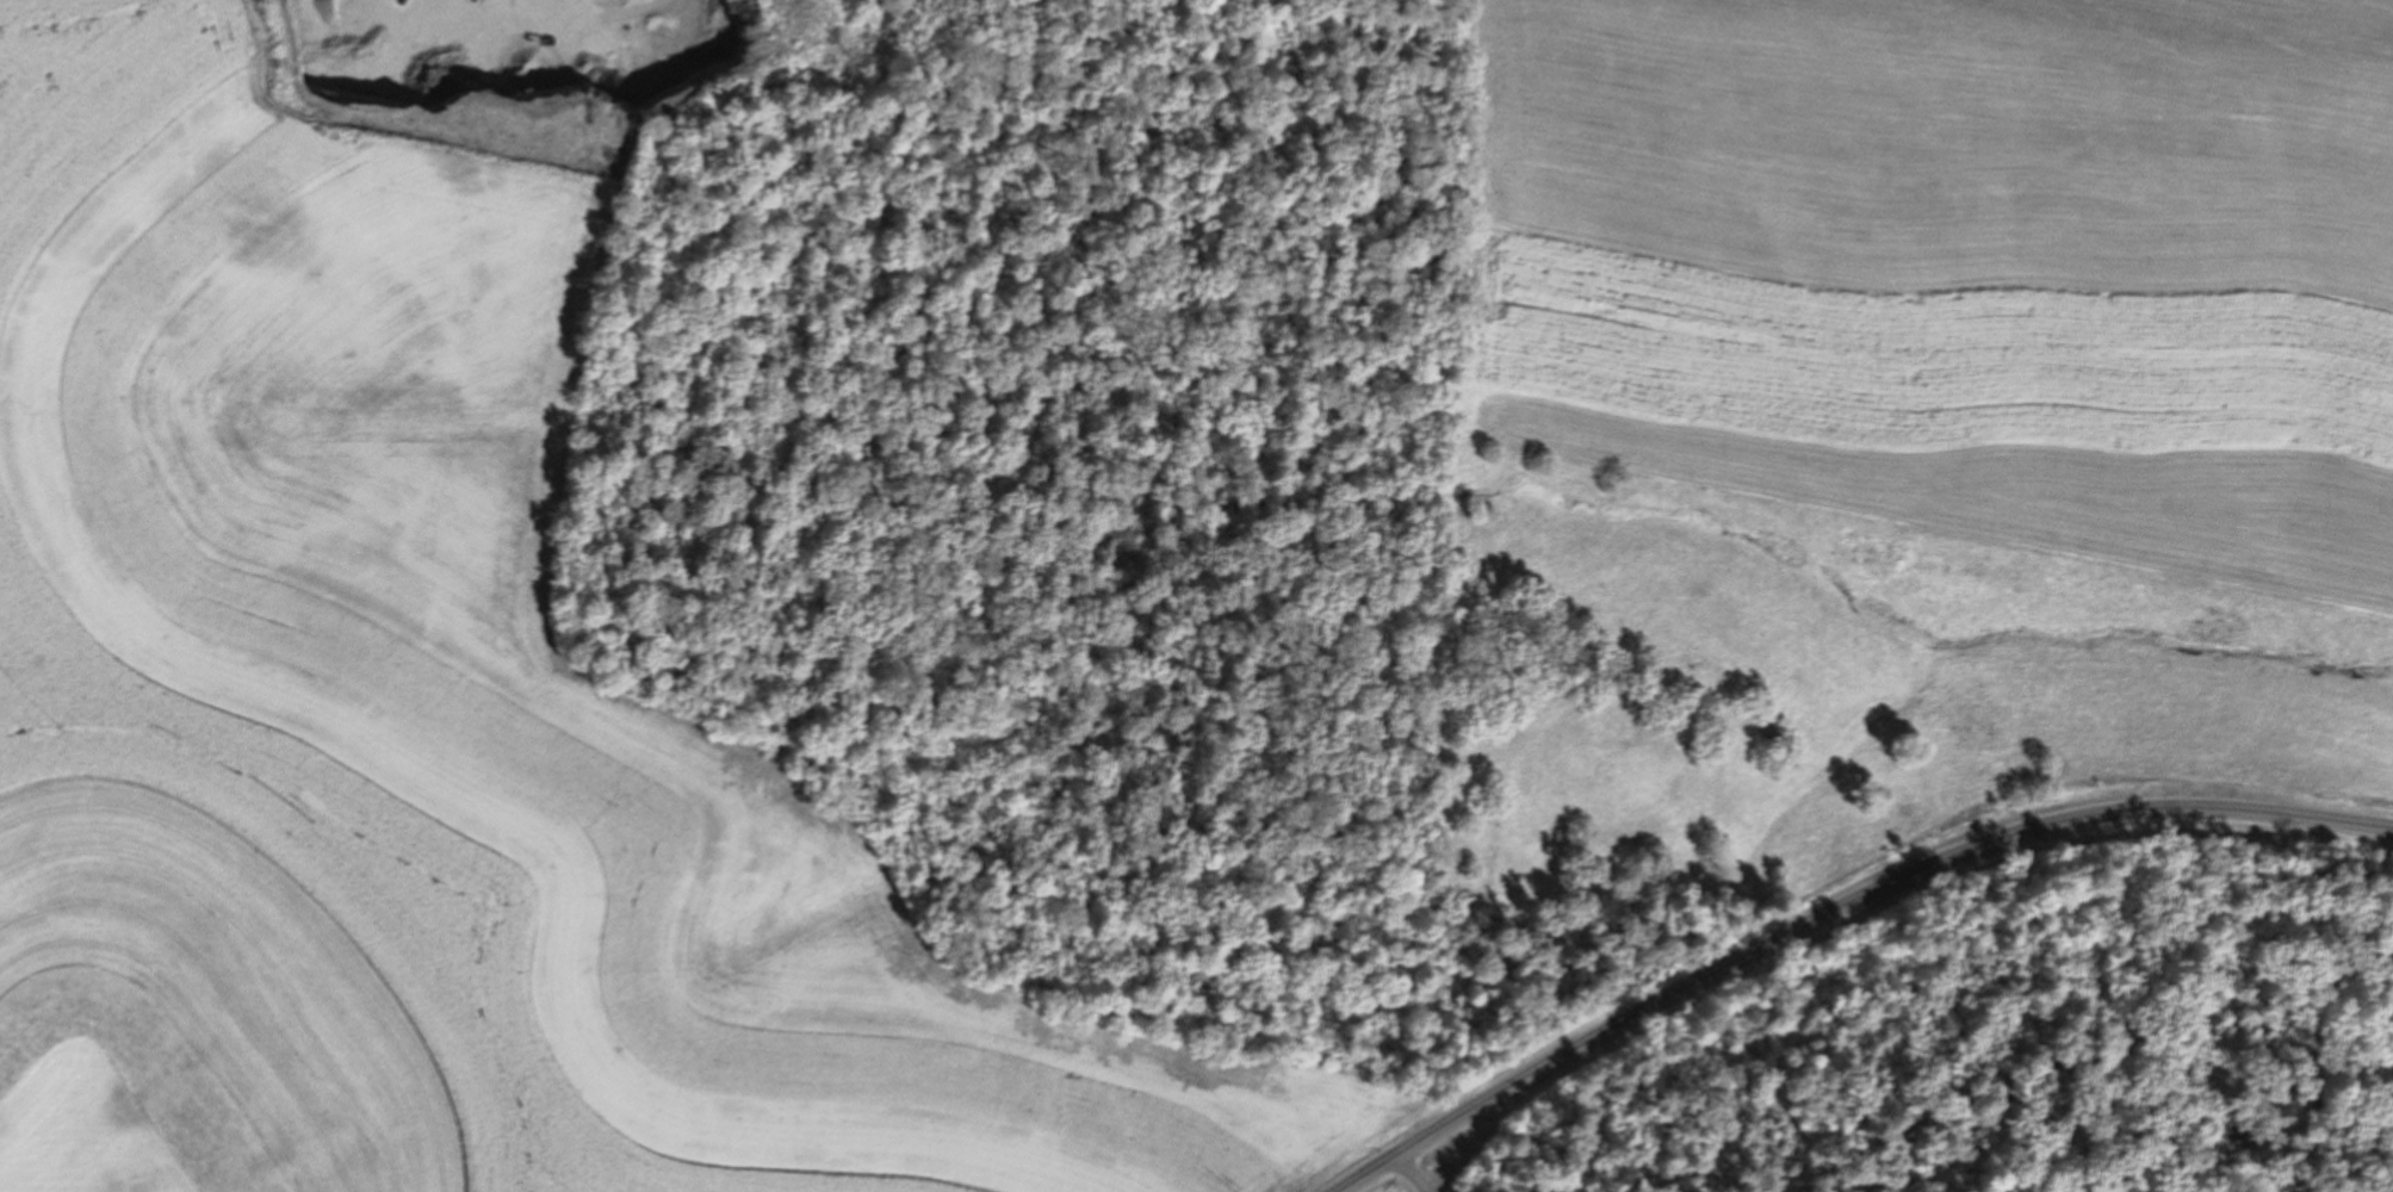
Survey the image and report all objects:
quarry: (618, 64)
road: (1846, 896)

